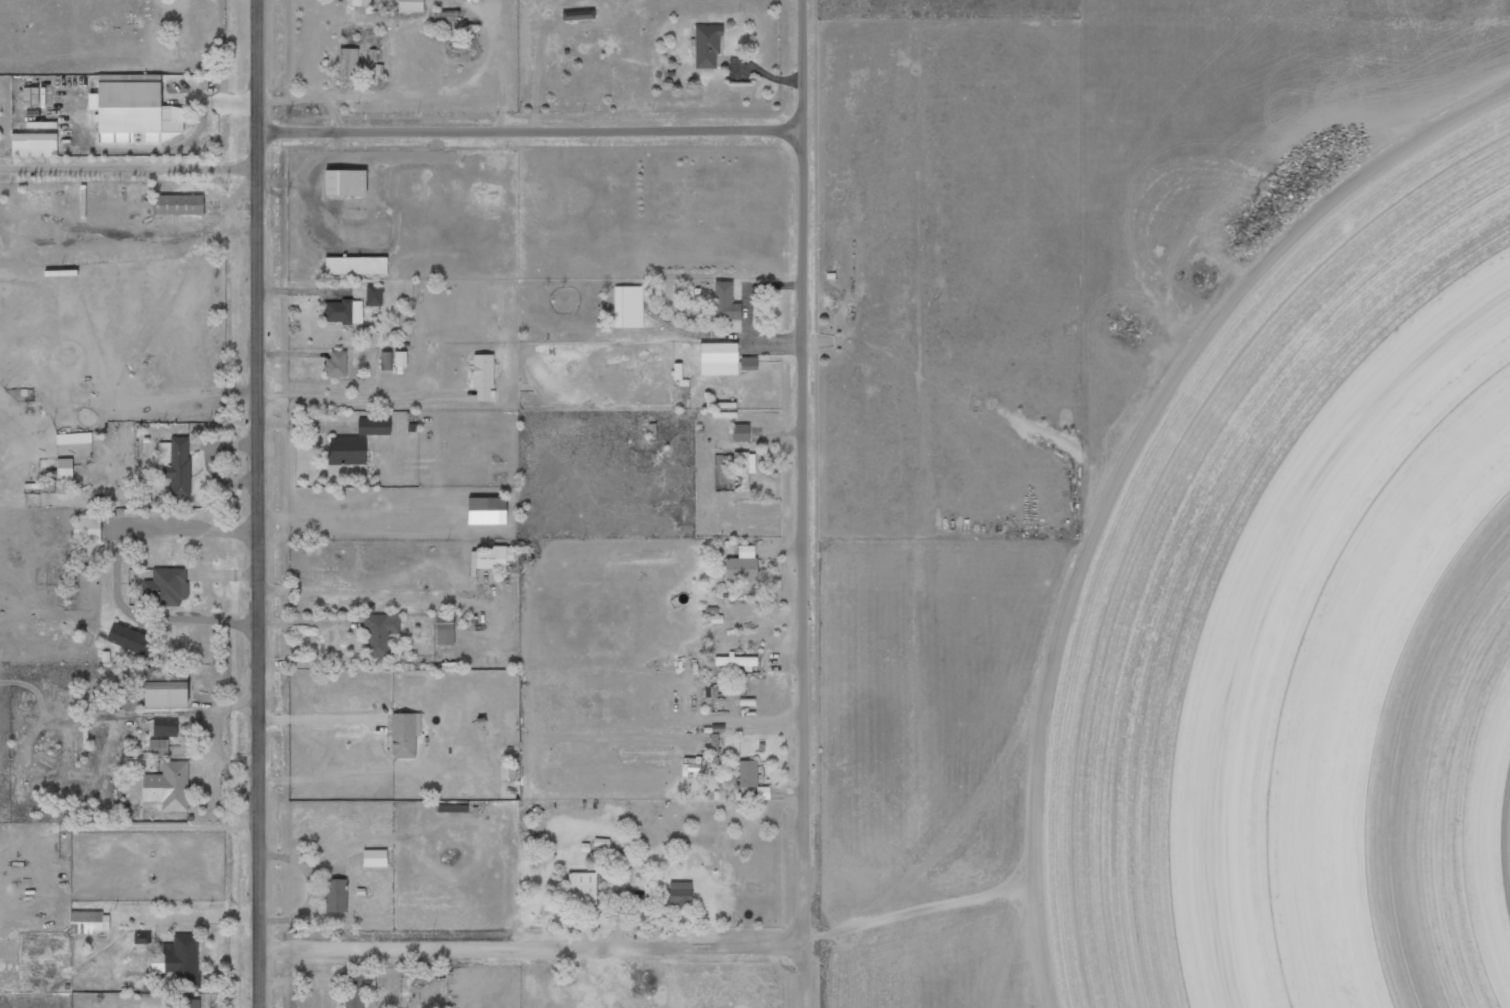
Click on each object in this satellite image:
building: (357, 2)
building: (409, 5)
building: (577, 15)
building: (469, 38)
building: (706, 45)
building: (348, 65)
building: (30, 96)
building: (136, 110)
road: (532, 127)
building: (33, 145)
building: (344, 182)
building: (178, 204)
building: (355, 265)
building: (373, 295)
building: (724, 302)
building: (627, 306)
building: (343, 312)
building: (400, 359)
building: (718, 359)
building: (385, 361)
building: (335, 365)
building: (483, 377)
building: (373, 426)
building: (739, 433)
building: (346, 450)
building: (175, 464)
building: (742, 470)
building: (64, 471)
road: (262, 504)
road: (804, 504)
building: (486, 510)
building: (86, 529)
building: (492, 557)
building: (741, 565)
building: (82, 571)
building: (166, 586)
building: (444, 629)
building: (381, 634)
building: (132, 640)
building: (736, 662)
building: (165, 693)
building: (164, 727)
building: (402, 736)
building: (713, 743)
building: (157, 749)
building: (507, 772)
building: (747, 773)
building: (168, 786)
building: (374, 858)
building: (581, 888)
building: (679, 893)
building: (335, 895)
building: (89, 922)
building: (141, 938)
road: (534, 943)
building: (169, 961)
building: (357, 989)
building: (190, 1003)

